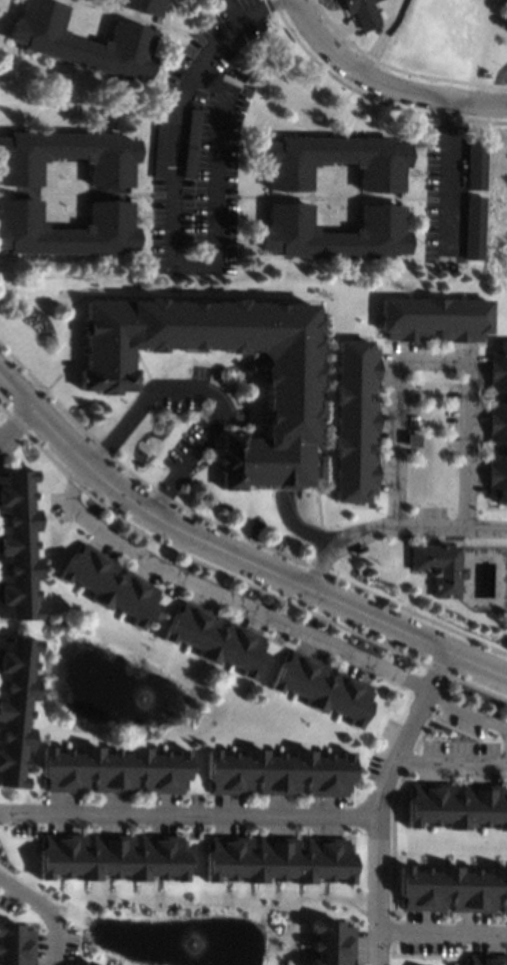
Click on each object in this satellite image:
building: (141, 5)
road: (237, 7)
building: (362, 12)
road: (131, 17)
road: (228, 28)
road: (89, 36)
road: (202, 40)
building: (81, 41)
road: (384, 81)
road: (505, 91)
building: (159, 143)
building: (190, 143)
building: (67, 156)
building: (333, 160)
building: (476, 165)
road: (451, 178)
road: (97, 193)
road: (335, 197)
road: (85, 224)
building: (473, 227)
building: (66, 229)
road: (355, 230)
building: (333, 233)
building: (444, 264)
road: (199, 267)
building: (432, 319)
road: (434, 361)
road: (205, 391)
building: (288, 401)
road: (13, 415)
building: (355, 419)
road: (2, 422)
building: (497, 426)
road: (396, 527)
road: (299, 528)
building: (15, 544)
road: (236, 550)
building: (439, 567)
building: (107, 584)
road: (224, 598)
building: (213, 639)
building: (322, 687)
building: (13, 705)
road: (471, 711)
road: (454, 765)
building: (111, 770)
building: (278, 773)
road: (379, 801)
building: (458, 805)
road: (184, 817)
building: (111, 861)
building: (279, 861)
building: (449, 887)
road: (45, 920)
road: (438, 926)
building: (328, 935)
building: (22, 947)
building: (483, 954)
building: (85, 963)
building: (413, 964)

